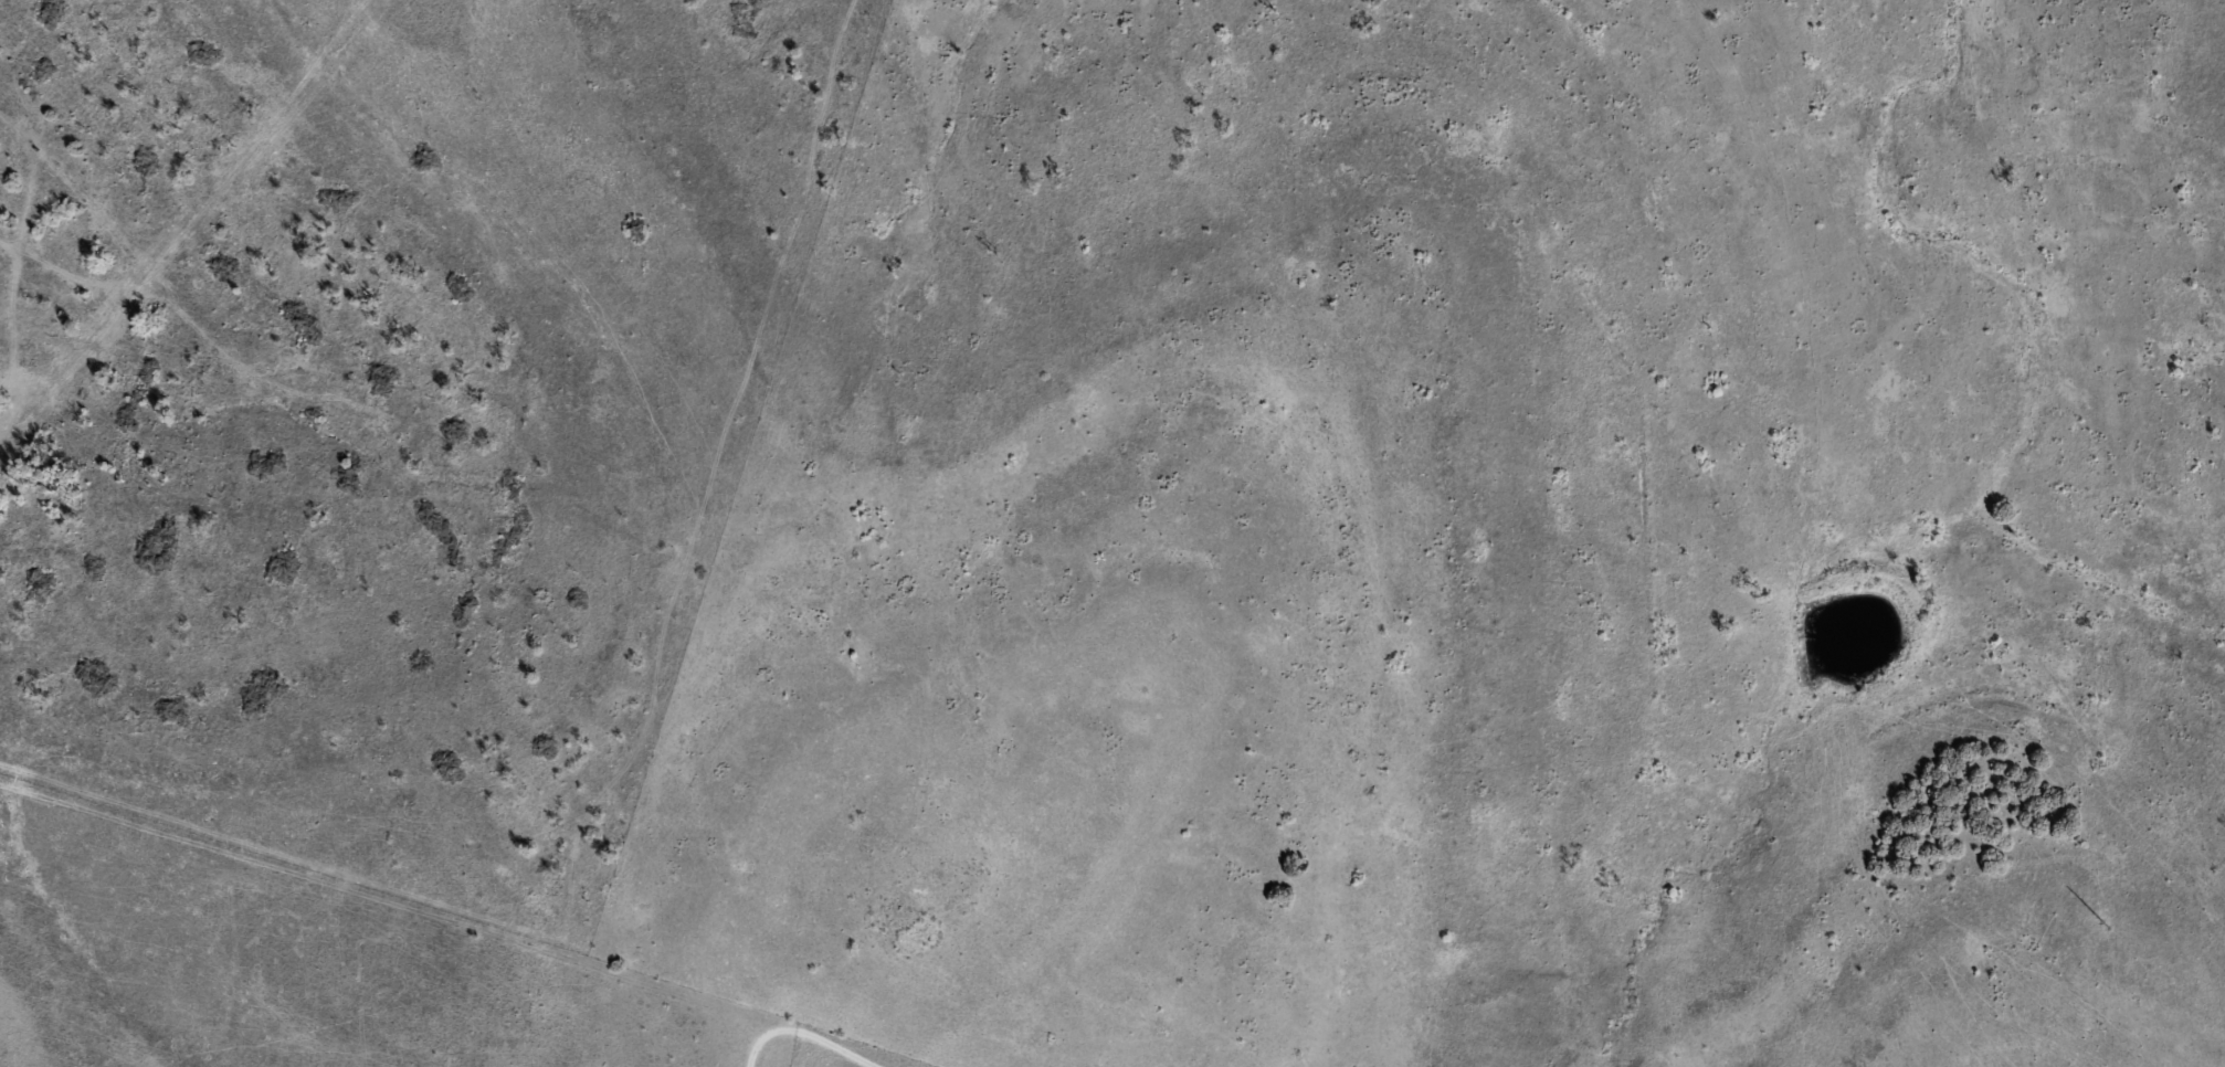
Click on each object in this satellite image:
power tower: (2105, 922)

